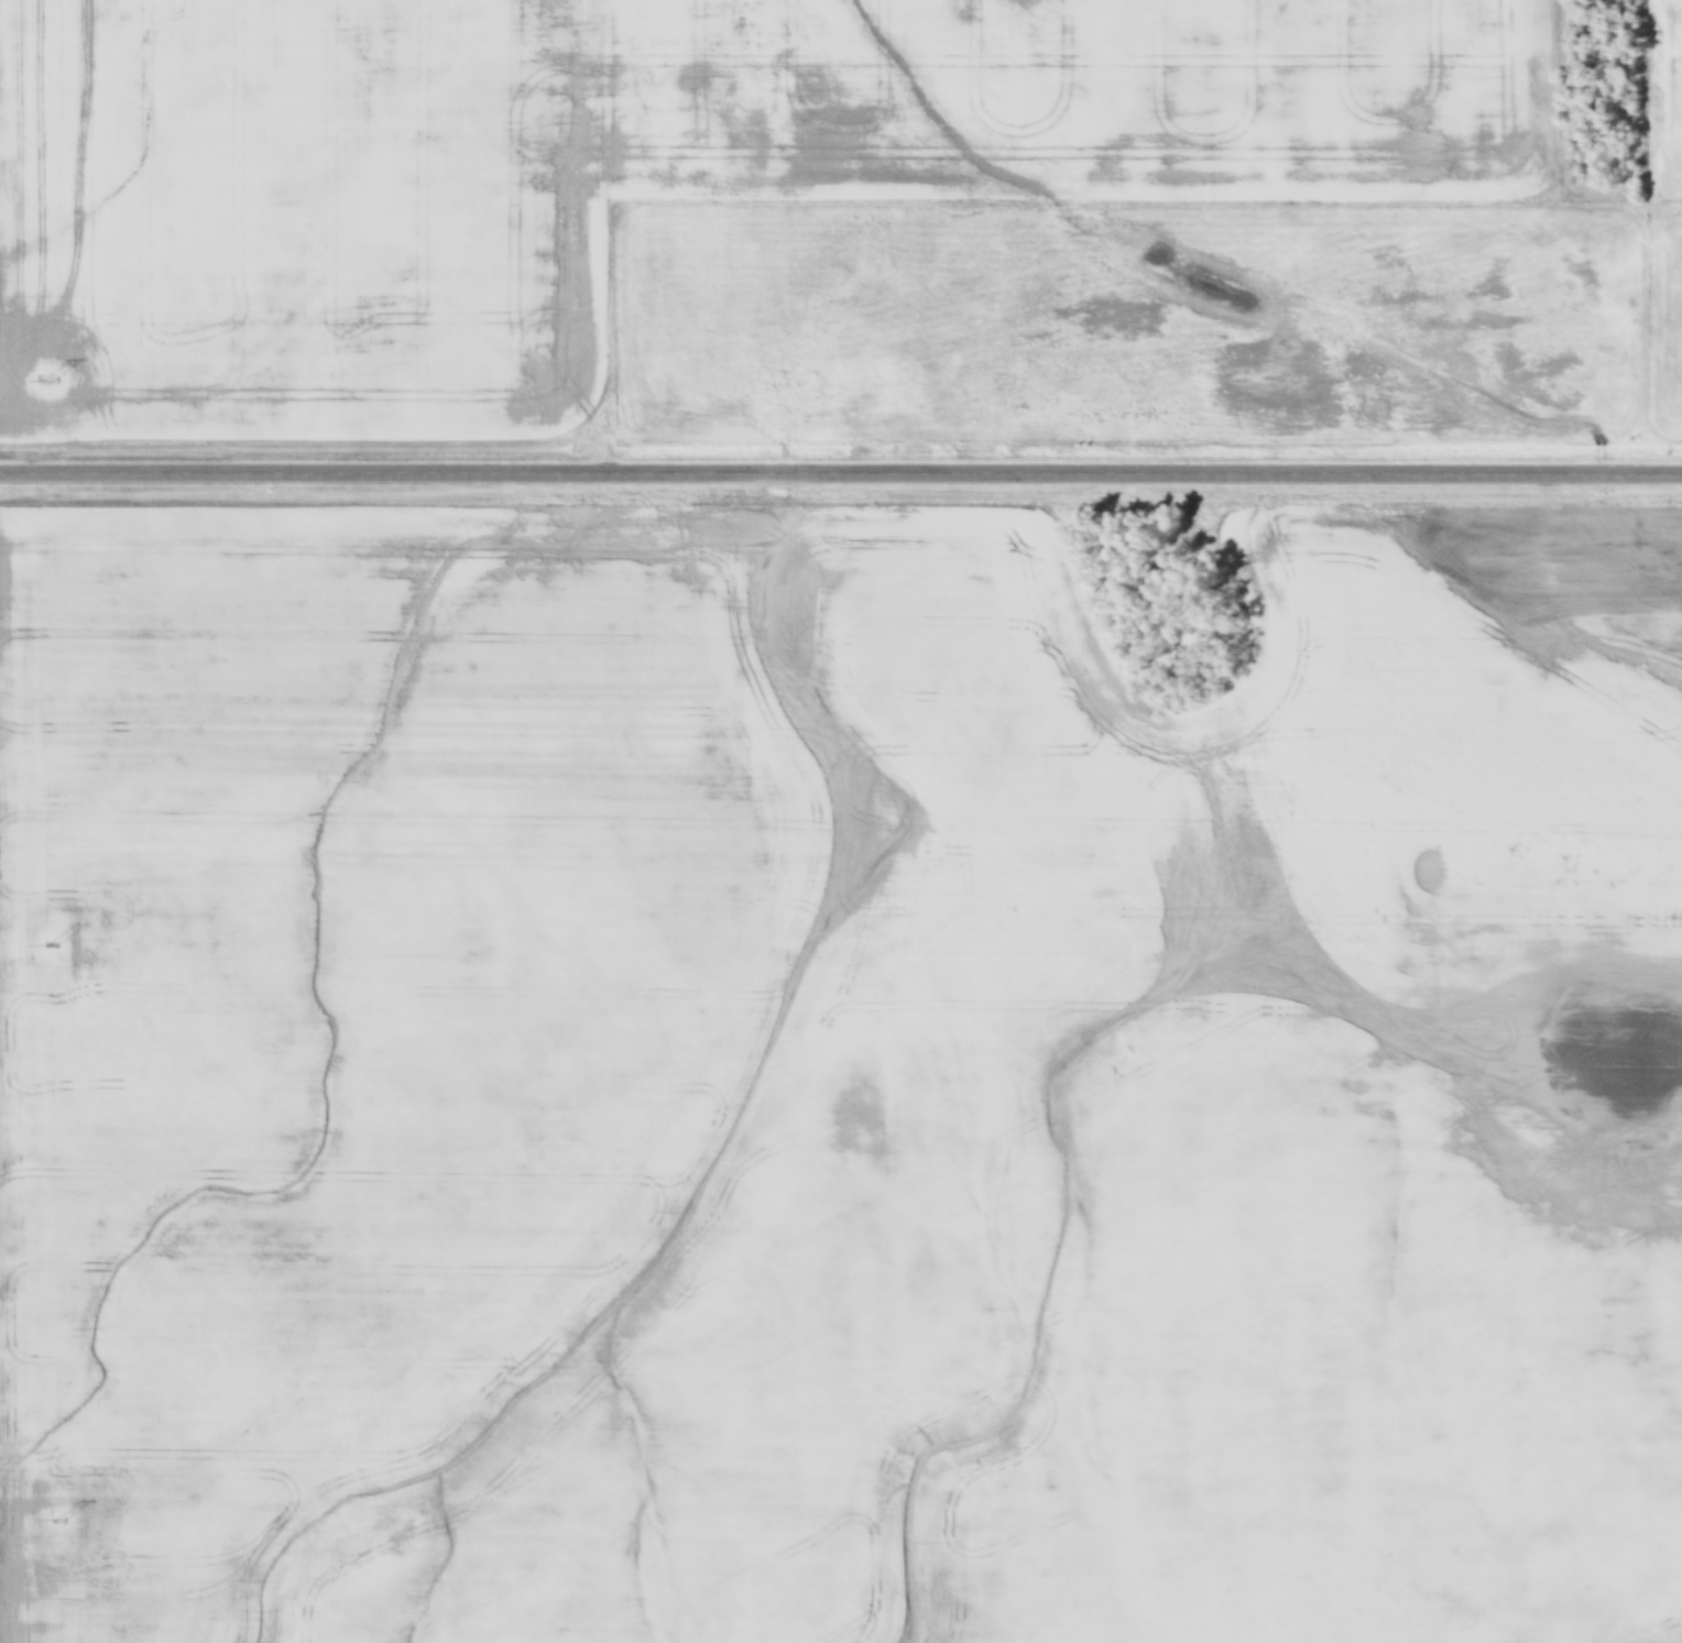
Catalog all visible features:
power tower: (46, 382)
road: (841, 475)
power tower: (53, 946)
power tower: (59, 1521)

